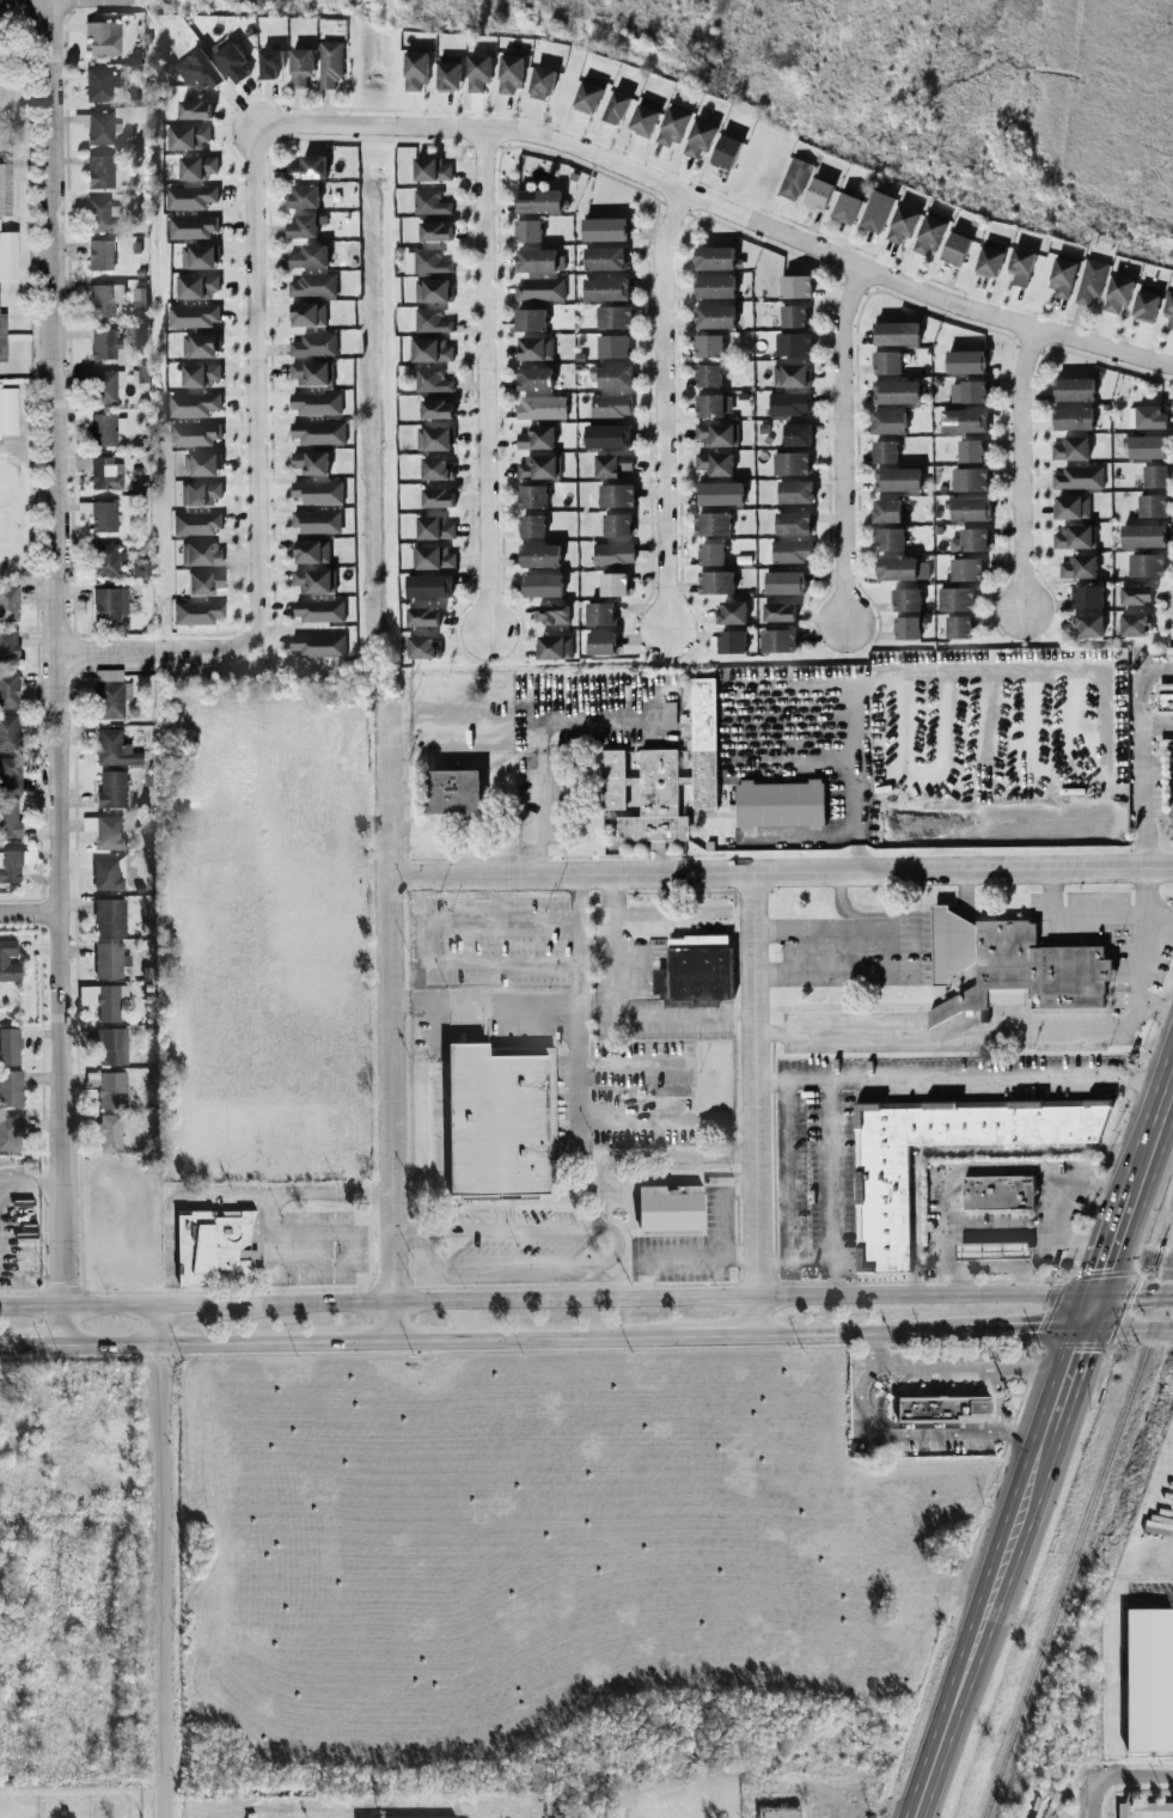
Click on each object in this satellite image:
building: (100, 39)
building: (231, 59)
building: (270, 63)
building: (330, 63)
building: (300, 66)
building: (416, 71)
building: (477, 72)
building: (511, 73)
building: (206, 74)
building: (448, 74)
building: (540, 83)
building: (99, 85)
building: (588, 94)
building: (616, 108)
building: (195, 110)
building: (644, 117)
building: (671, 127)
building: (99, 128)
building: (188, 136)
building: (698, 138)
building: (727, 152)
building: (197, 167)
building: (307, 167)
building: (432, 170)
building: (98, 171)
building: (794, 179)
building: (4, 191)
building: (819, 195)
building: (304, 196)
building: (190, 197)
building: (538, 201)
building: (430, 202)
building: (847, 208)
road: (716, 209)
building: (876, 212)
building: (100, 215)
building: (902, 225)
building: (305, 226)
building: (193, 227)
building: (605, 230)
building: (527, 231)
building: (435, 232)
building: (929, 236)
building: (955, 249)
building: (7, 255)
building: (99, 255)
building: (198, 257)
building: (308, 257)
building: (605, 258)
building: (714, 258)
building: (990, 258)
building: (539, 261)
building: (430, 262)
building: (1020, 267)
building: (1062, 276)
building: (1090, 281)
building: (313, 285)
building: (196, 287)
building: (715, 287)
building: (795, 287)
building: (539, 289)
building: (606, 289)
building: (433, 291)
building: (1117, 293)
building: (103, 299)
building: (1147, 303)
building: (1168, 310)
building: (306, 315)
building: (194, 316)
building: (794, 316)
building: (615, 317)
building: (715, 317)
building: (530, 319)
building: (432, 321)
building: (897, 334)
building: (2, 337)
building: (103, 343)
building: (313, 344)
building: (794, 344)
building: (198, 346)
building: (709, 346)
building: (613, 347)
building: (534, 348)
building: (430, 350)
building: (887, 362)
building: (966, 362)
building: (310, 373)
building: (200, 374)
road: (250, 376)
building: (708, 376)
building: (792, 376)
building: (615, 377)
building: (533, 379)
building: (432, 380)
road: (483, 380)
building: (100, 385)
building: (1074, 390)
building: (896, 392)
building: (967, 392)
building: (316, 403)
building: (193, 404)
building: (789, 404)
building: (611, 405)
building: (713, 405)
building: (542, 408)
building: (438, 410)
building: (7, 411)
road: (660, 414)
building: (1131, 417)
building: (1150, 417)
building: (1073, 419)
building: (964, 421)
building: (887, 422)
building: (105, 428)
building: (319, 433)
building: (196, 434)
building: (716, 434)
building: (799, 434)
building: (607, 437)
building: (536, 438)
building: (434, 439)
road: (837, 444)
building: (1148, 447)
building: (1070, 449)
building: (971, 451)
building: (885, 452)
building: (311, 463)
building: (201, 464)
building: (715, 464)
building: (792, 464)
building: (613, 465)
road: (1018, 465)
building: (538, 468)
building: (436, 469)
building: (104, 474)
building: (1155, 476)
building: (1079, 477)
building: (897, 480)
building: (970, 480)
building: (317, 493)
building: (795, 493)
building: (198, 494)
building: (720, 494)
building: (532, 496)
building: (617, 496)
building: (439, 498)
building: (1151, 506)
building: (1071, 507)
building: (970, 510)
building: (904, 511)
building: (886, 512)
building: (103, 517)
building: (316, 521)
building: (196, 523)
building: (713, 524)
building: (793, 524)
building: (618, 525)
building: (532, 526)
building: (435, 527)
building: (1074, 536)
building: (1143, 536)
building: (890, 539)
building: (970, 541)
building: (311, 551)
building: (792, 551)
building: (201, 554)
building: (613, 554)
building: (711, 554)
building: (540, 555)
building: (435, 557)
building: (105, 560)
building: (1145, 566)
building: (1079, 567)
building: (902, 569)
building: (966, 569)
building: (312, 581)
building: (202, 582)
building: (716, 582)
building: (613, 584)
building: (784, 584)
building: (543, 585)
building: (430, 586)
building: (1136, 594)
building: (1087, 597)
building: (908, 599)
building: (957, 599)
building: (7, 603)
building: (108, 603)
building: (318, 610)
building: (196, 612)
building: (732, 612)
building: (780, 612)
building: (552, 614)
building: (600, 614)
building: (423, 617)
building: (1086, 626)
building: (1134, 626)
building: (959, 627)
building: (908, 628)
building: (778, 641)
building: (732, 642)
building: (601, 643)
building: (7, 645)
building: (318, 645)
building: (423, 647)
building: (554, 647)
building: (1168, 652)
road: (209, 653)
road: (105, 654)
road: (53, 672)
building: (8, 690)
building: (109, 694)
building: (1165, 697)
building: (668, 715)
road: (519, 725)
road: (1155, 725)
building: (8, 733)
building: (703, 743)
building: (1165, 743)
building: (114, 749)
road: (1138, 757)
building: (10, 775)
building: (110, 789)
building: (453, 792)
building: (646, 797)
road: (537, 801)
road: (856, 804)
building: (778, 805)
building: (8, 818)
building: (104, 832)
building: (16, 865)
road: (781, 874)
building: (108, 877)
road: (1073, 913)
road: (28, 915)
road: (680, 915)
building: (111, 919)
road: (784, 931)
road: (430, 942)
road: (920, 948)
building: (110, 962)
building: (10, 963)
building: (1012, 966)
building: (699, 969)
road: (787, 975)
building: (660, 981)
road: (482, 1002)
building: (111, 1003)
road: (1155, 1011)
road: (612, 1014)
road: (390, 1024)
road: (1019, 1032)
building: (11, 1048)
building: (112, 1048)
road: (631, 1063)
road: (960, 1079)
road: (574, 1088)
building: (11, 1090)
building: (110, 1090)
road: (752, 1104)
building: (501, 1122)
building: (110, 1134)
building: (11, 1136)
road: (1145, 1142)
road: (955, 1151)
road: (641, 1154)
road: (783, 1170)
road: (1038, 1171)
road: (26, 1182)
road: (831, 1189)
building: (997, 1192)
road: (228, 1196)
road: (722, 1204)
building: (881, 1209)
building: (671, 1213)
road: (1027, 1230)
road: (405, 1232)
road: (1038, 1234)
road: (350, 1246)
building: (215, 1247)
road: (267, 1247)
building: (991, 1250)
road: (946, 1255)
road: (1105, 1255)
road: (610, 1256)
road: (792, 1256)
road: (677, 1258)
road: (963, 1280)
traffic signals: (1092, 1294)
road: (1132, 1294)
road: (662, 1298)
road: (195, 1304)
road: (78, 1306)
road: (1086, 1312)
road: (1021, 1330)
traffic signals: (1080, 1330)
road: (1126, 1330)
road: (857, 1332)
road: (715, 1335)
road: (367, 1341)
road: (30, 1344)
road: (967, 1372)
road: (1061, 1385)
road: (998, 1403)
building: (942, 1409)
road: (914, 1427)
road: (905, 1434)
railway: (1076, 1544)
road: (160, 1561)
road: (1155, 1597)
road: (979, 1630)
building: (1148, 1680)
road: (1135, 1779)
road: (1094, 1801)
building: (1153, 1810)
building: (778, 1812)

